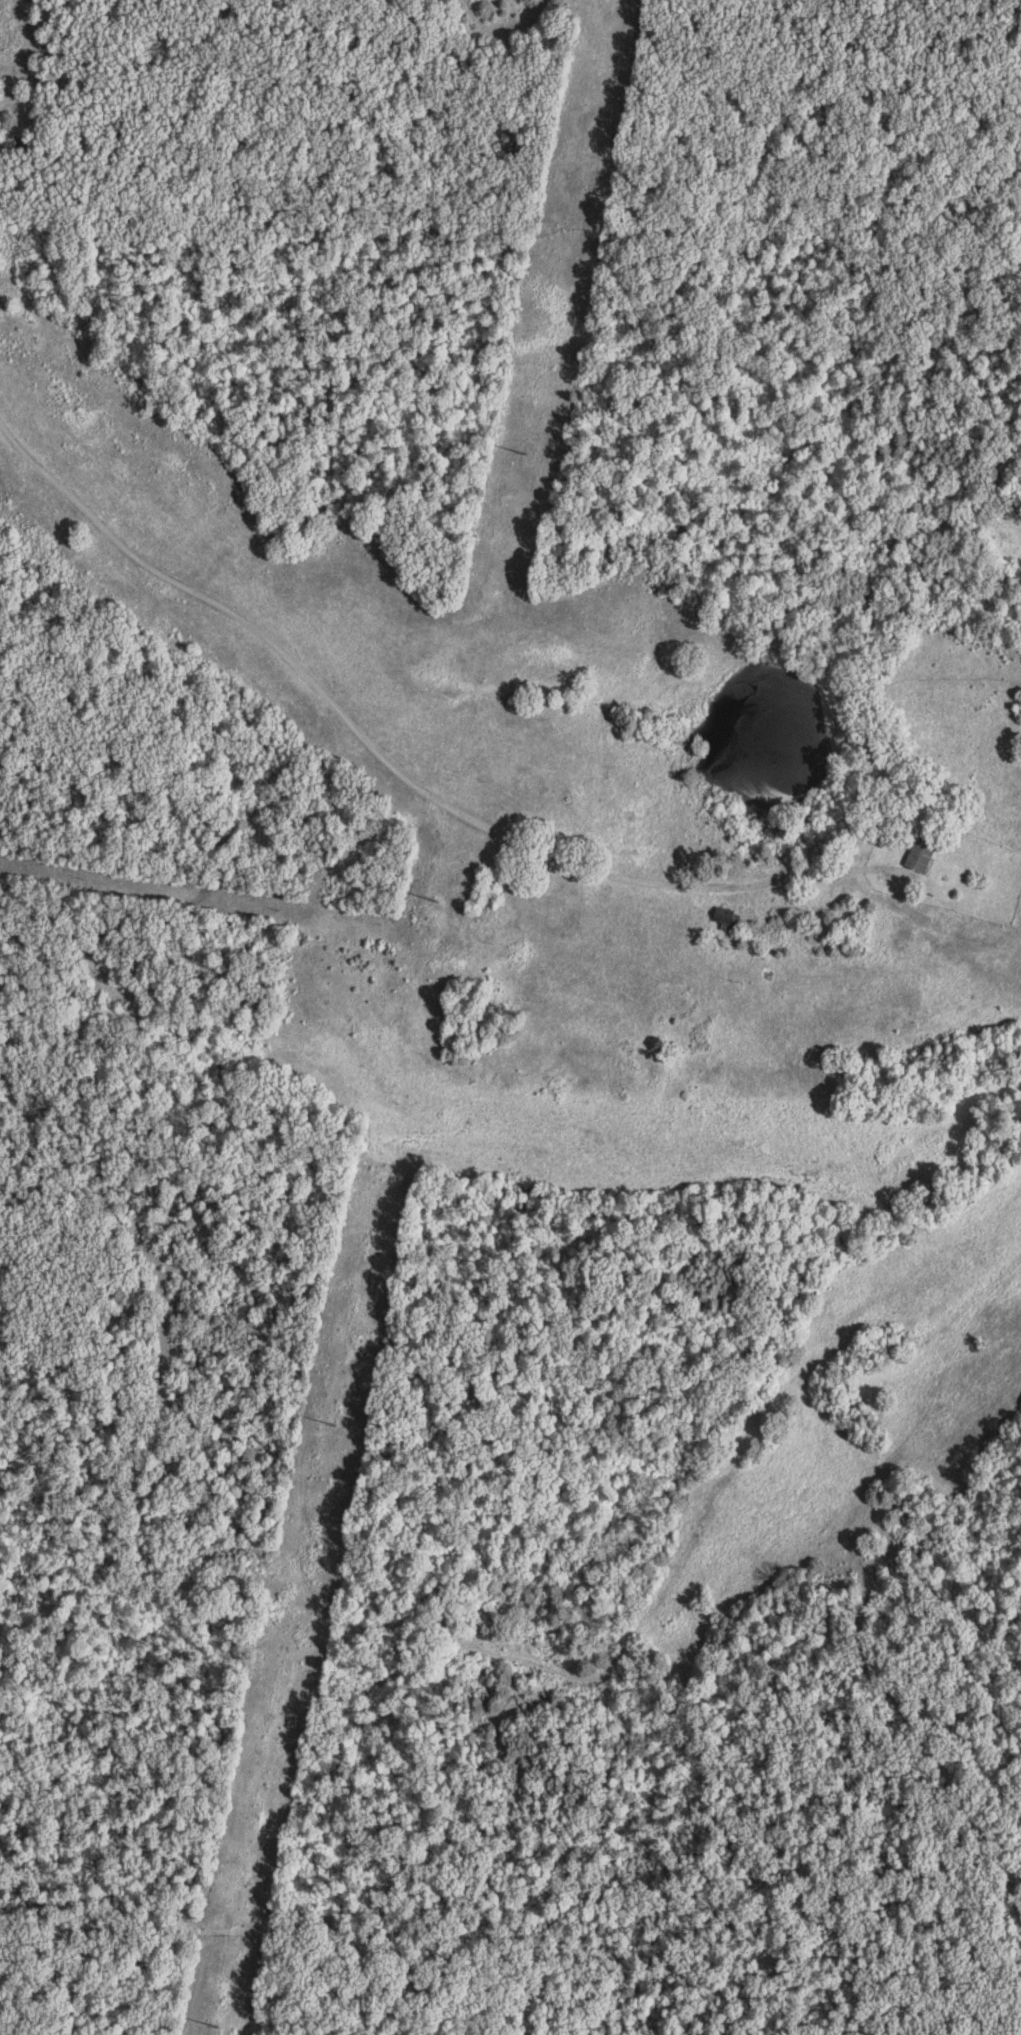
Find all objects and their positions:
power tower: (524, 454)
road: (437, 764)
building: (925, 855)
power tower: (434, 905)
power tower: (333, 1427)
power tower: (214, 2028)

